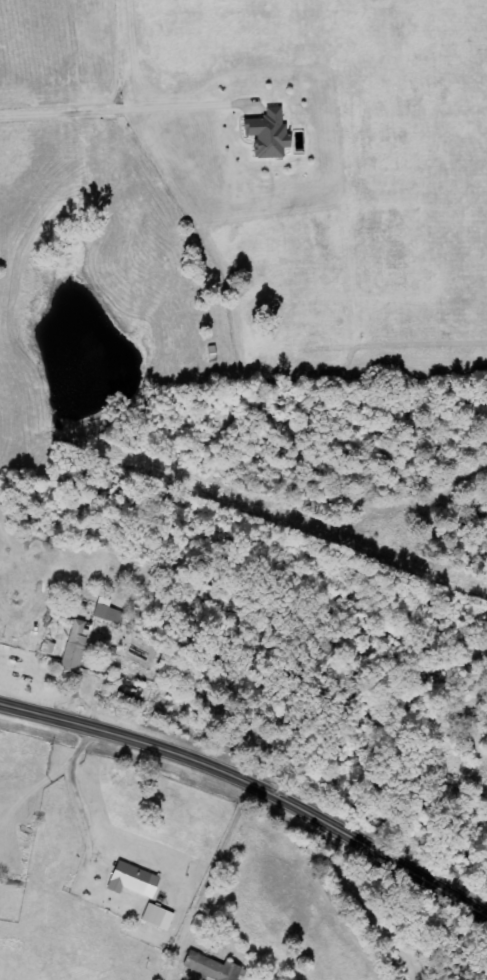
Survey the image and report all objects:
road: (117, 107)
building: (269, 134)
building: (75, 646)
road: (252, 775)
road: (208, 877)
building: (134, 880)
road: (364, 905)
building: (158, 916)
building: (213, 967)

